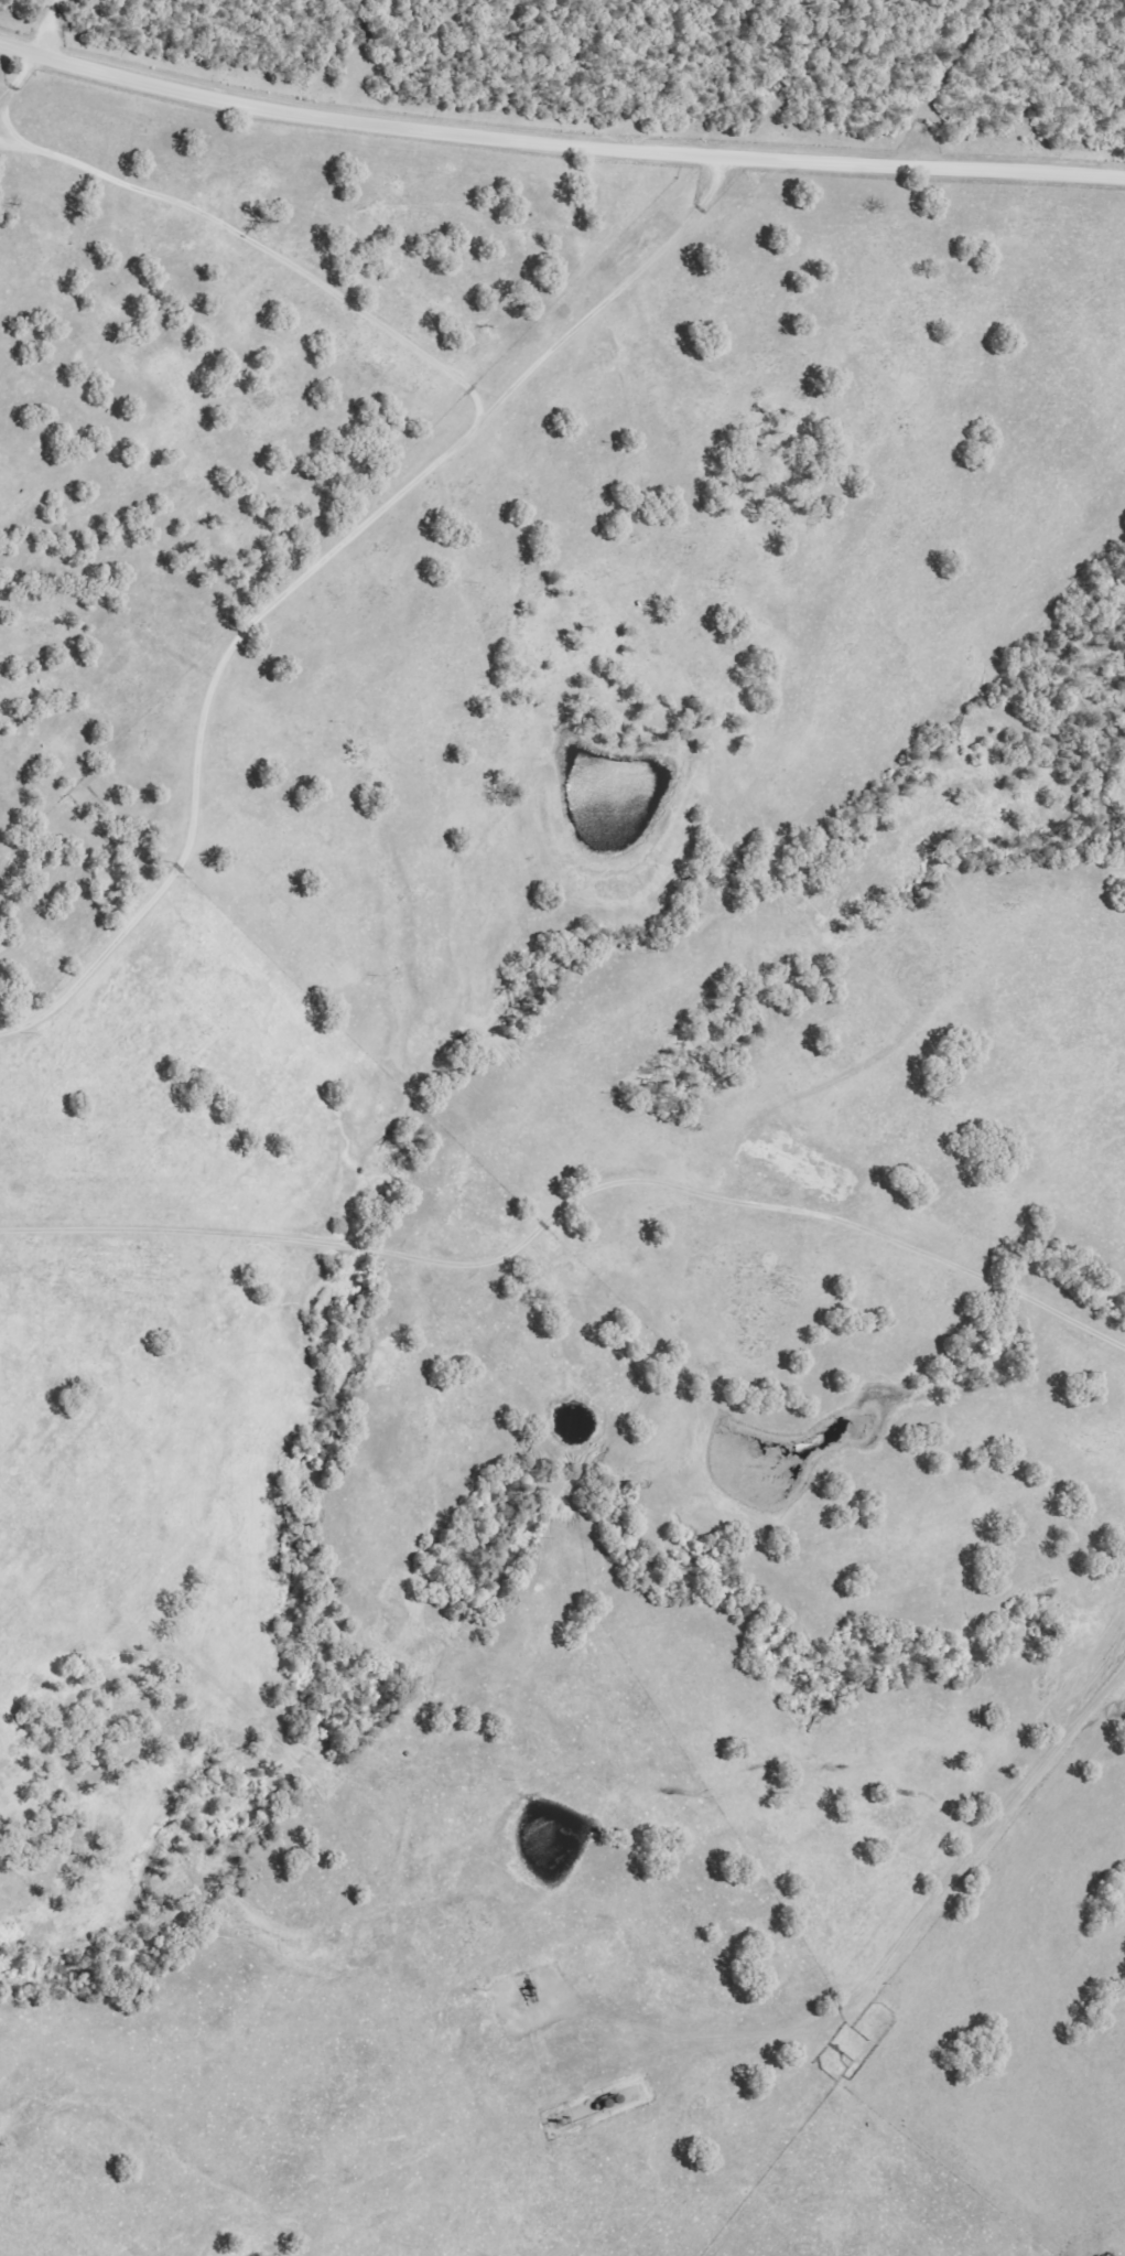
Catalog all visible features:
road: (45, 24)
road: (15, 75)
road: (944, 79)
road: (558, 139)
road: (316, 559)
road: (948, 1259)
road: (905, 1936)

